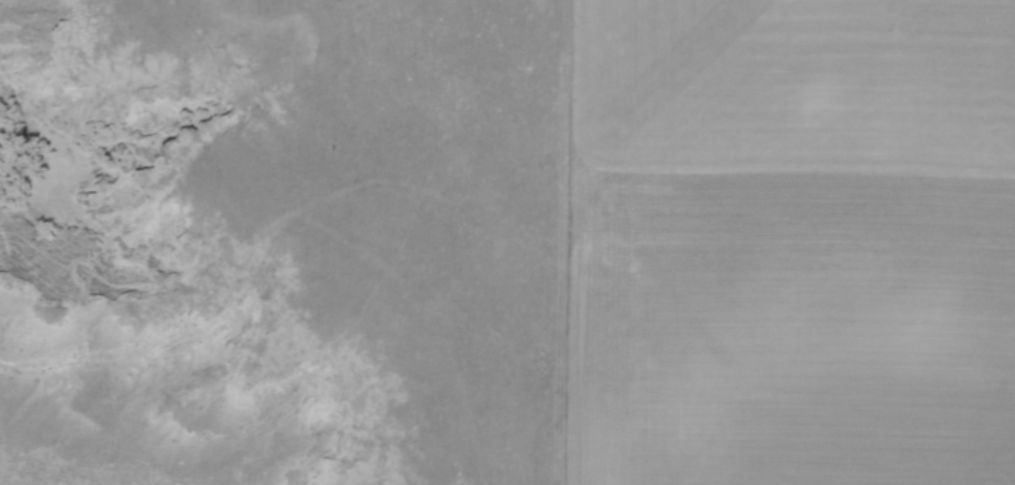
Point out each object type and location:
crop: (795, 242)

